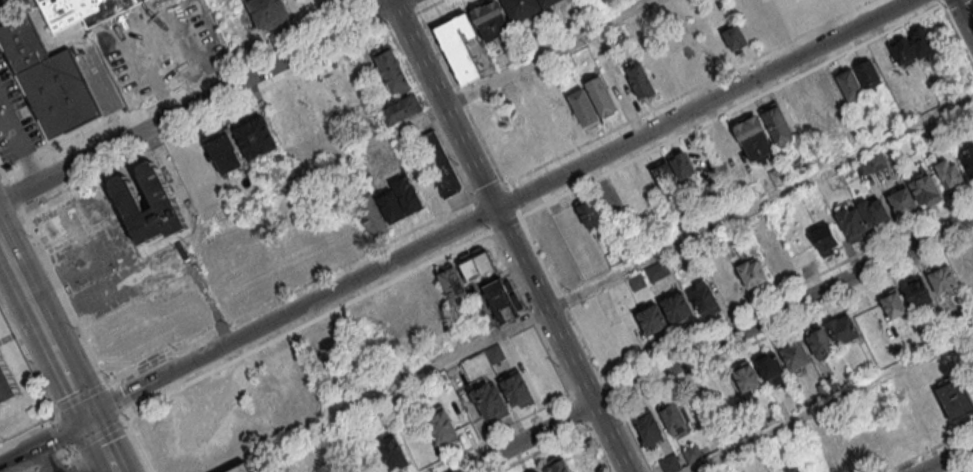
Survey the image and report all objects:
building: (547, 3)
road: (429, 5)
building: (521, 8)
parking lot: (14, 9)
building: (80, 11)
building: (270, 16)
road: (965, 16)
building: (490, 19)
building: (734, 36)
building: (923, 41)
building: (458, 45)
parking lot: (170, 48)
building: (902, 51)
building: (391, 68)
building: (866, 72)
road: (124, 80)
building: (640, 80)
building: (49, 83)
building: (848, 83)
road: (187, 90)
road: (687, 92)
building: (601, 97)
road: (461, 98)
road: (202, 102)
building: (812, 104)
building: (322, 105)
building: (583, 106)
building: (400, 109)
road: (431, 114)
road: (205, 119)
parking lot: (14, 120)
building: (777, 125)
building: (753, 136)
building: (255, 138)
road: (376, 140)
building: (224, 152)
building: (968, 155)
building: (876, 160)
building: (681, 163)
building: (439, 164)
building: (861, 168)
building: (949, 172)
road: (3, 174)
building: (833, 180)
building: (667, 181)
building: (926, 189)
building: (407, 195)
road: (14, 196)
building: (128, 200)
building: (902, 203)
building: (391, 206)
road: (494, 208)
building: (874, 212)
building: (370, 213)
building: (590, 213)
building: (60, 223)
building: (851, 223)
road: (507, 236)
building: (823, 239)
road: (531, 242)
building: (476, 264)
parking lot: (99, 267)
building: (750, 272)
road: (18, 274)
building: (944, 279)
building: (451, 283)
building: (916, 291)
road: (291, 292)
road: (64, 297)
building: (704, 298)
building: (501, 299)
building: (893, 305)
building: (676, 307)
building: (417, 309)
road: (530, 315)
building: (650, 319)
road: (794, 319)
road: (307, 324)
road: (43, 325)
building: (842, 329)
road: (715, 343)
building: (819, 343)
building: (323, 347)
road: (462, 351)
building: (794, 355)
road: (28, 360)
building: (771, 367)
building: (746, 377)
road: (68, 379)
building: (7, 383)
building: (517, 389)
road: (79, 396)
building: (953, 398)
building: (490, 399)
road: (116, 400)
road: (829, 400)
traffic signals: (88, 417)
building: (674, 417)
building: (440, 424)
building: (203, 426)
building: (649, 430)
road: (28, 432)
road: (98, 434)
road: (498, 435)
road: (56, 437)
road: (565, 437)
building: (416, 440)
road: (632, 440)
road: (44, 441)
road: (101, 444)
road: (138, 445)
road: (929, 449)
building: (393, 451)
building: (691, 454)
road: (946, 458)
road: (47, 460)
road: (77, 460)
building: (670, 463)
building: (556, 466)
road: (965, 468)
building: (242, 469)
building: (790, 470)
building: (536, 471)

